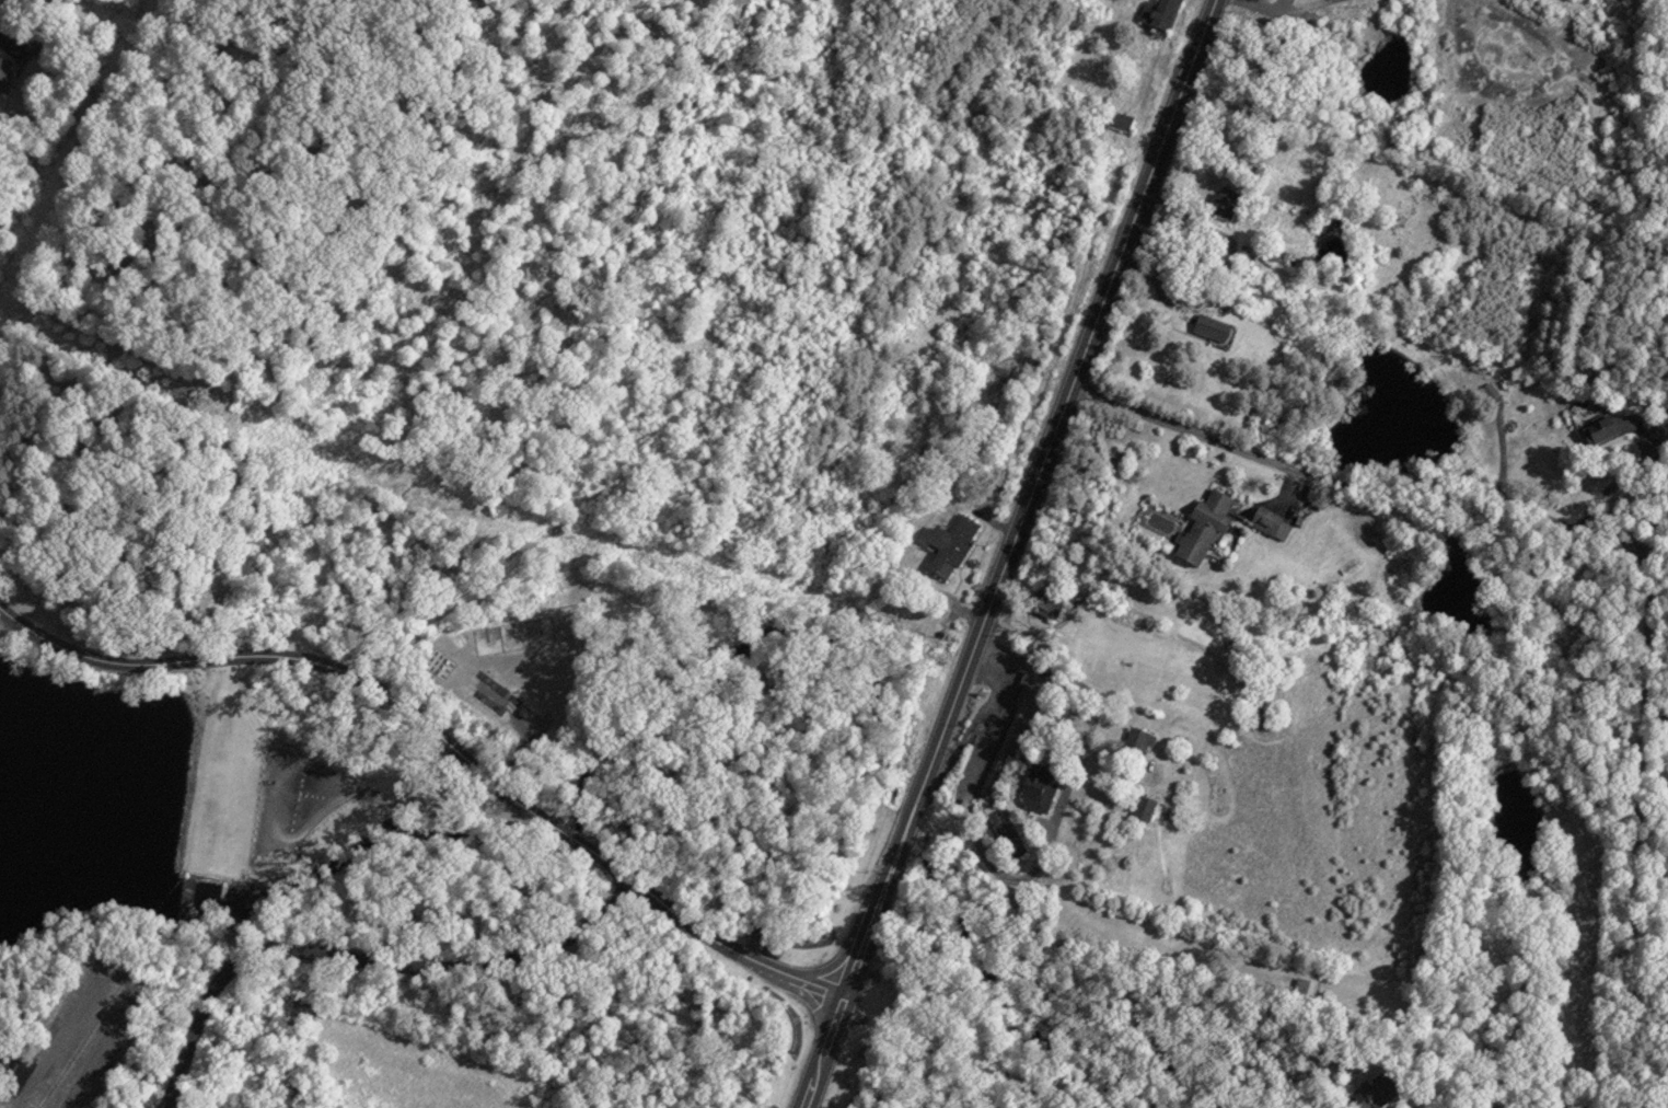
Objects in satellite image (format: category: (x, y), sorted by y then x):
building: (1159, 11)
building: (32, 47)
building: (3, 70)
building: (1120, 117)
building: (1224, 197)
building: (1212, 325)
building: (1611, 425)
road: (1586, 488)
road: (1027, 498)
building: (1271, 520)
building: (1204, 523)
building: (951, 543)
road: (1648, 545)
road: (13, 642)
road: (1066, 701)
building: (525, 708)
building: (1262, 711)
building: (1013, 730)
road: (442, 734)
building: (1139, 739)
dam: (250, 781)
building: (1040, 784)
building: (1144, 806)
building: (1009, 830)
road: (363, 962)
road: (109, 971)
building: (1304, 985)
parking lot: (79, 1039)
road: (822, 1052)
building: (1374, 1090)

